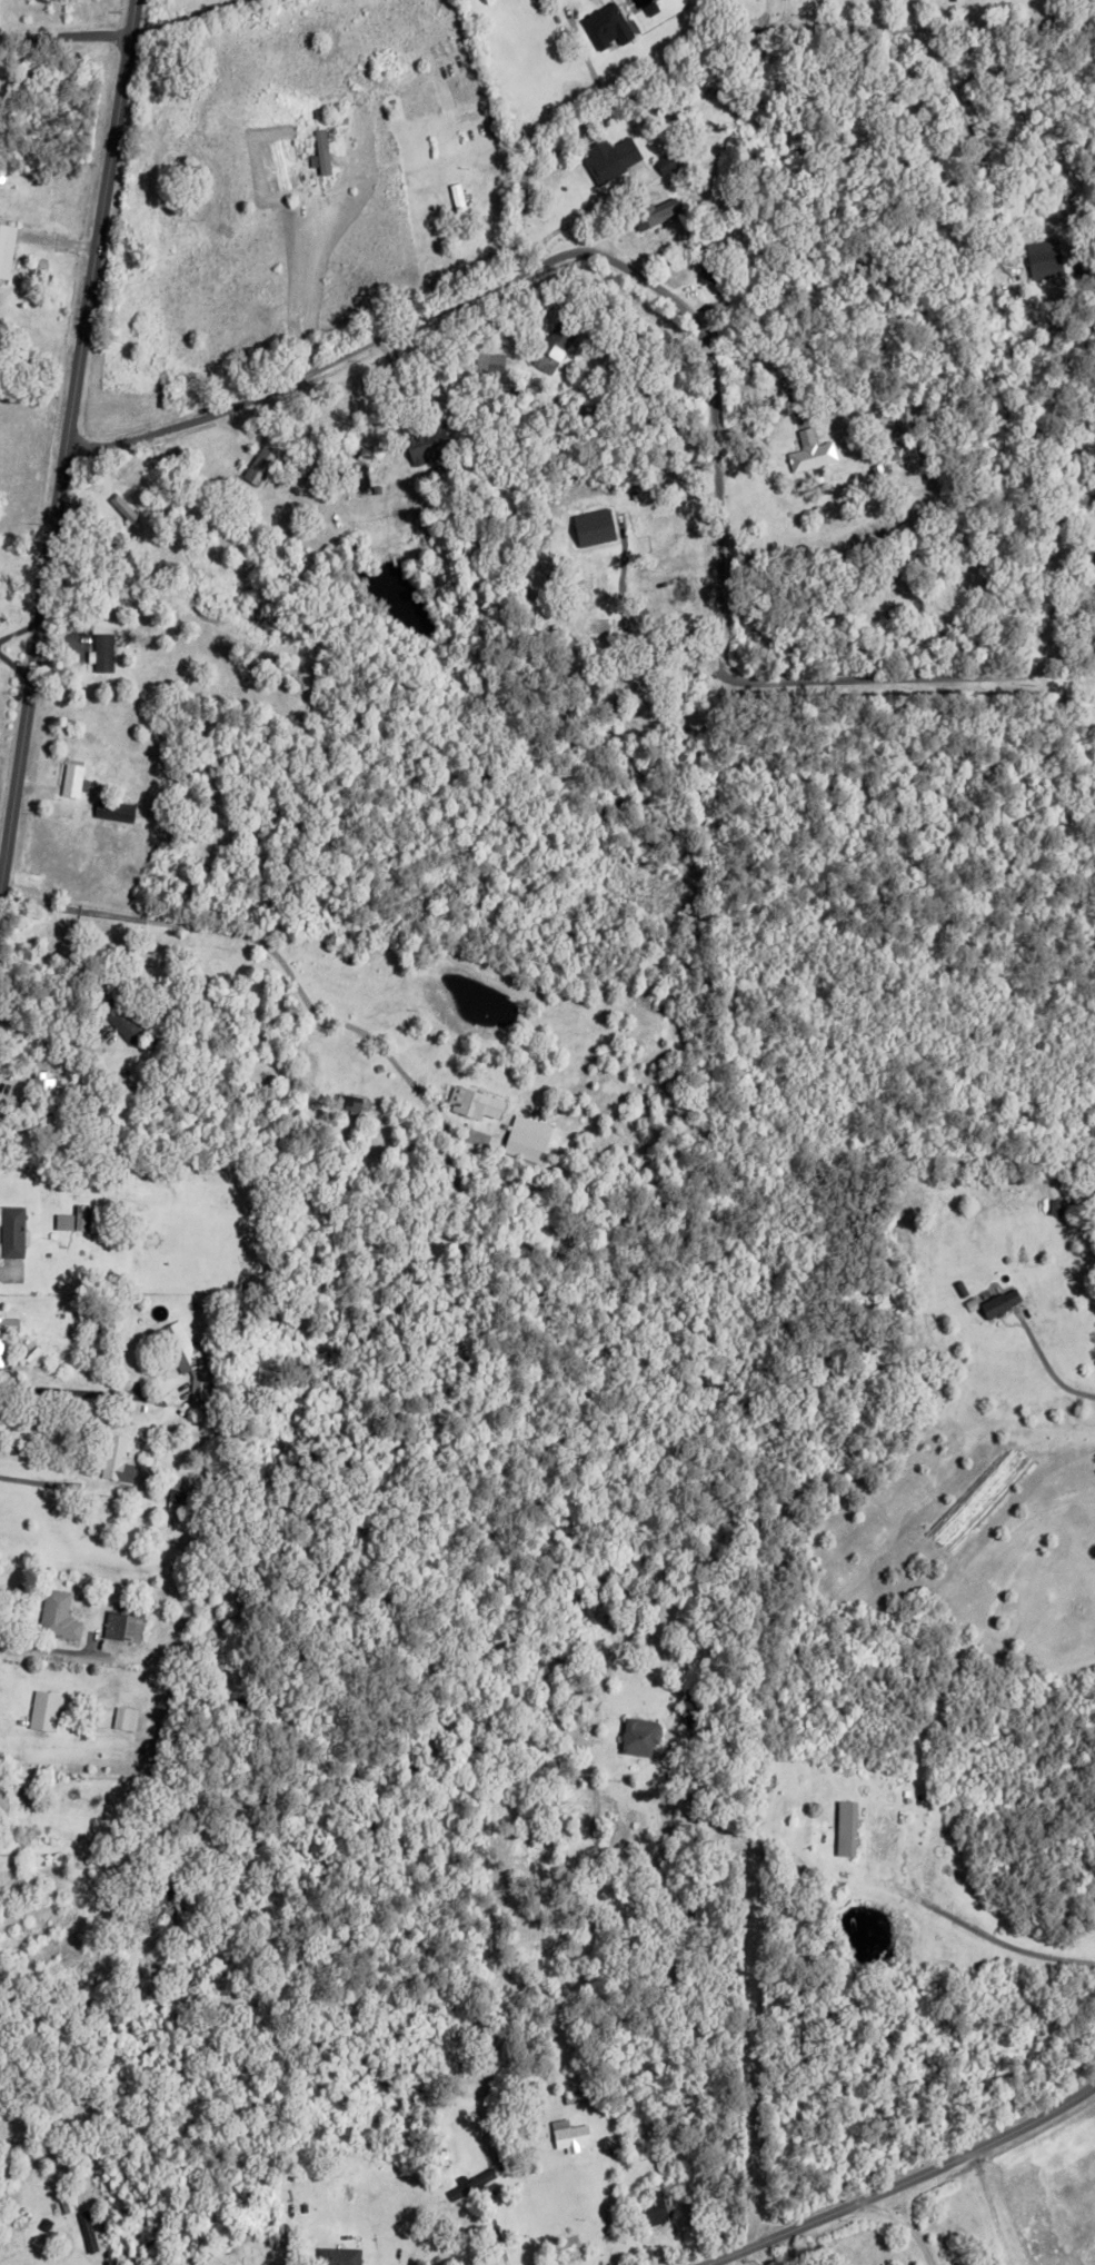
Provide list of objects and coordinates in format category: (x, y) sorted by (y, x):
building: (647, 6)
road: (766, 16)
road: (786, 16)
building: (603, 22)
road: (735, 34)
road: (64, 39)
road: (587, 61)
road: (958, 106)
building: (317, 150)
building: (323, 152)
building: (601, 158)
building: (664, 158)
building: (671, 161)
building: (455, 207)
building: (651, 209)
building: (1009, 209)
building: (4, 245)
building: (1041, 256)
building: (706, 269)
building: (584, 279)
road: (701, 326)
building: (609, 340)
building: (550, 344)
road: (759, 357)
building: (486, 359)
building: (436, 435)
road: (66, 439)
building: (362, 449)
building: (808, 453)
building: (256, 463)
building: (876, 466)
building: (345, 477)
building: (372, 487)
building: (1092, 552)
building: (550, 567)
building: (595, 576)
road: (16, 650)
building: (107, 654)
road: (1082, 678)
building: (70, 777)
building: (218, 798)
building: (115, 808)
road: (253, 938)
building: (122, 1022)
road: (41, 1037)
building: (376, 1066)
building: (26, 1093)
building: (346, 1101)
building: (471, 1101)
building: (42, 1104)
building: (529, 1139)
building: (86, 1214)
building: (78, 1215)
building: (62, 1220)
building: (11, 1230)
building: (61, 1295)
building: (998, 1304)
building: (213, 1305)
building: (96, 1311)
building: (8, 1323)
building: (186, 1361)
road: (1047, 1367)
road: (80, 1425)
building: (111, 1454)
building: (188, 1460)
road: (43, 1482)
building: (175, 1490)
building: (56, 1615)
building: (122, 1622)
road: (92, 1652)
building: (551, 1683)
building: (228, 1702)
building: (685, 1707)
building: (693, 1707)
building: (41, 1709)
building: (122, 1718)
road: (2, 1721)
building: (686, 1727)
building: (637, 1737)
building: (9, 1795)
building: (844, 1826)
building: (153, 1900)
building: (830, 1916)
road: (1001, 1938)
road: (726, 1975)
building: (574, 2097)
building: (566, 2134)
building: (653, 2138)
building: (440, 2157)
road: (906, 2183)
building: (467, 2184)
building: (295, 2207)
building: (659, 2208)
road: (599, 2209)
building: (331, 2226)
road: (905, 2228)
building: (90, 2232)
road: (756, 2255)
building: (344, 2256)

